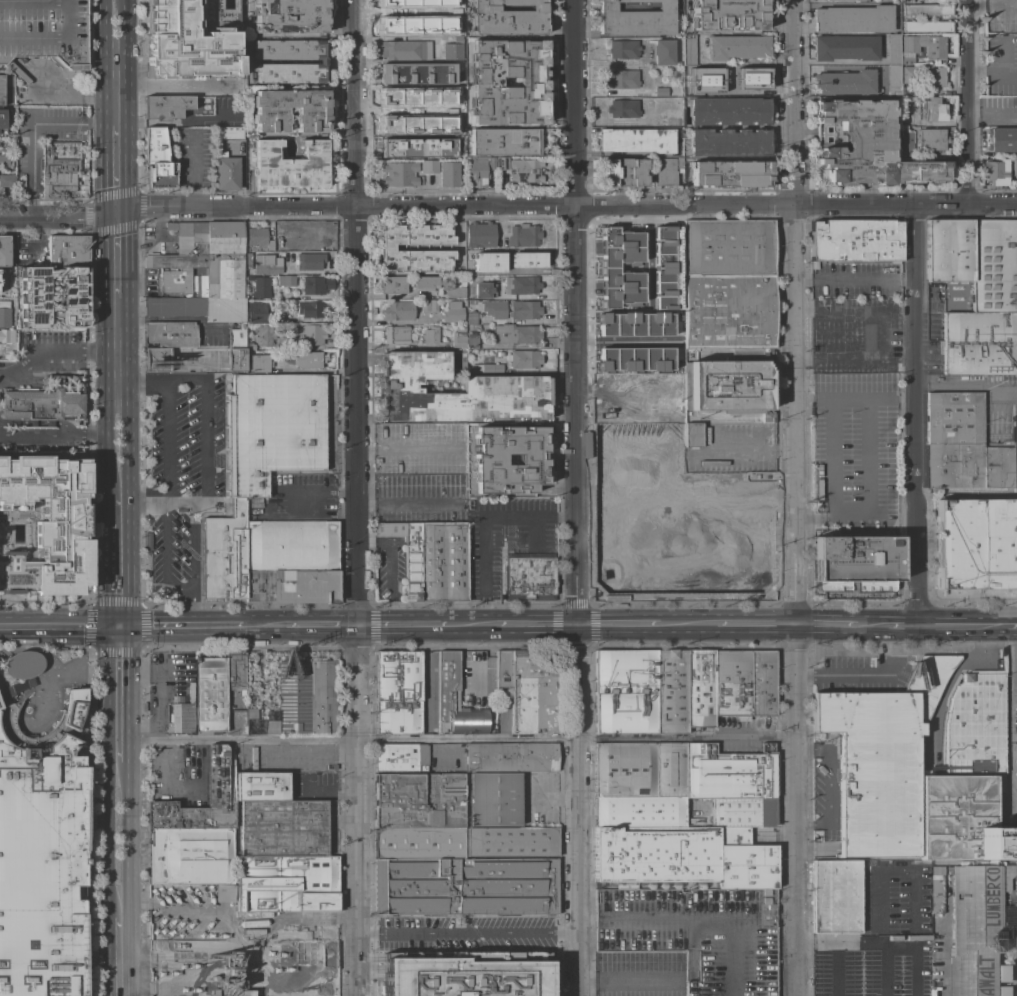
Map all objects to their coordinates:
building: (849, 0)
building: (905, 1)
building: (405, 3)
road: (989, 5)
building: (434, 6)
building: (927, 10)
building: (727, 14)
building: (289, 15)
building: (507, 18)
building: (635, 19)
building: (852, 19)
building: (405, 21)
building: (926, 26)
building: (43, 30)
parking lot: (43, 30)
building: (456, 30)
building: (187, 44)
building: (737, 47)
building: (844, 47)
building: (453, 49)
building: (623, 49)
building: (893, 49)
building: (404, 50)
building: (688, 50)
building: (934, 50)
building: (663, 52)
building: (322, 61)
road: (114, 62)
road: (847, 62)
building: (416, 73)
building: (908, 74)
building: (932, 77)
building: (740, 78)
building: (622, 79)
building: (705, 79)
building: (693, 80)
building: (893, 80)
building: (484, 81)
building: (844, 82)
road: (169, 86)
building: (1, 90)
building: (906, 90)
building: (433, 92)
building: (660, 92)
building: (455, 94)
building: (402, 96)
road: (967, 101)
building: (165, 107)
building: (622, 109)
building: (934, 109)
building: (269, 110)
building: (729, 111)
building: (63, 118)
building: (669, 118)
building: (3, 119)
building: (906, 119)
road: (32, 129)
building: (1002, 139)
building: (635, 140)
building: (931, 140)
building: (504, 142)
building: (729, 142)
building: (906, 143)
building: (154, 145)
building: (861, 146)
building: (417, 148)
road: (192, 159)
building: (225, 160)
building: (4, 161)
building: (501, 163)
building: (290, 165)
building: (428, 167)
road: (116, 168)
building: (1013, 169)
building: (478, 170)
building: (525, 171)
building: (622, 172)
building: (667, 172)
building: (731, 173)
building: (993, 173)
building: (160, 174)
building: (399, 174)
building: (448, 174)
building: (57, 176)
building: (7, 180)
road: (192, 197)
road: (508, 201)
traffic signals: (117, 212)
building: (480, 235)
building: (524, 235)
building: (304, 236)
building: (258, 238)
building: (855, 240)
building: (183, 247)
building: (387, 247)
building: (67, 250)
building: (3, 251)
road: (117, 255)
building: (247, 258)
building: (975, 260)
building: (309, 261)
building: (523, 261)
building: (486, 262)
building: (266, 265)
building: (607, 268)
building: (663, 269)
building: (4, 276)
building: (212, 280)
building: (285, 281)
building: (184, 282)
road: (855, 282)
building: (424, 283)
building: (315, 285)
building: (392, 285)
building: (521, 285)
building: (260, 288)
building: (454, 289)
building: (483, 289)
building: (33, 293)
building: (424, 306)
building: (433, 306)
building: (309, 309)
building: (493, 309)
building: (523, 310)
building: (398, 311)
building: (256, 312)
road: (839, 312)
building: (453, 313)
building: (4, 314)
building: (729, 314)
building: (471, 318)
road: (528, 320)
building: (633, 324)
building: (169, 334)
building: (308, 334)
building: (395, 334)
building: (515, 334)
building: (430, 335)
building: (6, 336)
building: (261, 336)
building: (236, 337)
building: (458, 340)
building: (471, 340)
building: (979, 343)
building: (6, 350)
road: (34, 353)
road: (101, 353)
road: (861, 353)
building: (634, 358)
building: (156, 359)
building: (523, 359)
building: (235, 360)
building: (308, 360)
building: (259, 364)
road: (117, 366)
building: (487, 368)
road: (186, 380)
building: (626, 384)
building: (505, 386)
road: (967, 388)
road: (899, 399)
road: (852, 400)
road: (810, 402)
building: (42, 403)
building: (673, 407)
building: (632, 408)
road: (918, 414)
building: (664, 418)
road: (13, 422)
road: (31, 422)
building: (31, 423)
road: (40, 423)
building: (49, 423)
road: (49, 423)
road: (70, 426)
building: (272, 429)
road: (44, 432)
road: (102, 433)
building: (692, 434)
road: (208, 441)
building: (965, 446)
road: (406, 450)
road: (749, 450)
building: (489, 459)
road: (117, 464)
road: (866, 469)
parking lot: (181, 475)
road: (830, 476)
building: (683, 480)
road: (163, 483)
road: (357, 497)
road: (577, 497)
road: (795, 498)
road: (286, 502)
road: (406, 503)
road: (140, 504)
road: (186, 504)
building: (682, 511)
road: (518, 517)
building: (47, 525)
road: (372, 544)
building: (976, 544)
road: (194, 546)
building: (223, 554)
building: (407, 555)
building: (855, 558)
road: (484, 559)
road: (117, 561)
building: (290, 561)
building: (443, 562)
road: (389, 567)
building: (741, 572)
building: (529, 577)
road: (179, 588)
road: (392, 607)
road: (194, 608)
road: (485, 612)
road: (319, 624)
road: (404, 624)
road: (468, 624)
road: (490, 624)
road: (536, 624)
traffic signals: (578, 624)
road: (618, 624)
road: (686, 624)
road: (755, 624)
road: (826, 624)
road: (260, 625)
road: (871, 625)
road: (1011, 625)
road: (903, 626)
road: (963, 626)
road: (58, 627)
road: (180, 627)
traffic signals: (118, 628)
road: (1012, 654)
road: (489, 657)
building: (22, 664)
building: (503, 669)
building: (235, 671)
road: (865, 675)
building: (744, 683)
building: (700, 688)
building: (190, 691)
building: (398, 692)
building: (429, 692)
building: (625, 692)
building: (671, 692)
road: (118, 695)
building: (209, 695)
building: (532, 695)
building: (306, 697)
building: (180, 699)
building: (456, 699)
building: (181, 718)
road: (1008, 721)
building: (975, 724)
building: (441, 727)
building: (270, 728)
road: (1013, 737)
road: (458, 739)
building: (400, 757)
building: (511, 757)
building: (879, 759)
building: (640, 770)
building: (728, 773)
building: (216, 774)
road: (829, 781)
building: (261, 787)
road: (1013, 798)
building: (494, 799)
building: (418, 800)
building: (639, 811)
building: (742, 812)
building: (925, 818)
building: (967, 822)
building: (283, 828)
road: (118, 839)
building: (511, 842)
building: (420, 843)
building: (41, 854)
building: (190, 856)
building: (683, 858)
road: (906, 869)
building: (286, 883)
building: (466, 887)
building: (224, 893)
building: (836, 896)
parking lot: (44, 901)
road: (160, 904)
storage tank: (253, 923)
building: (294, 928)
building: (980, 930)
building: (697, 933)
parking garage: (697, 933)
road: (467, 937)
parking lot: (883, 940)
road: (881, 946)
road: (119, 956)
road: (836, 971)
road: (885, 971)
building: (420, 973)
building: (229, 974)
building: (510, 974)
parking lot: (637, 974)
building: (243, 993)

